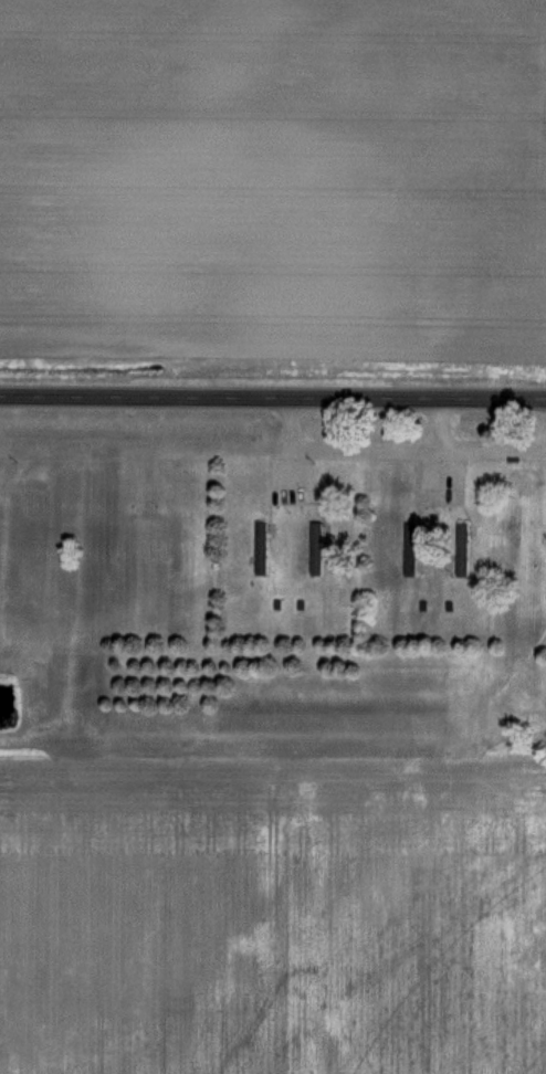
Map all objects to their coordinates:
road: (273, 396)
road: (441, 424)
road: (396, 452)
building: (265, 550)
building: (321, 550)
building: (466, 551)
building: (414, 552)

